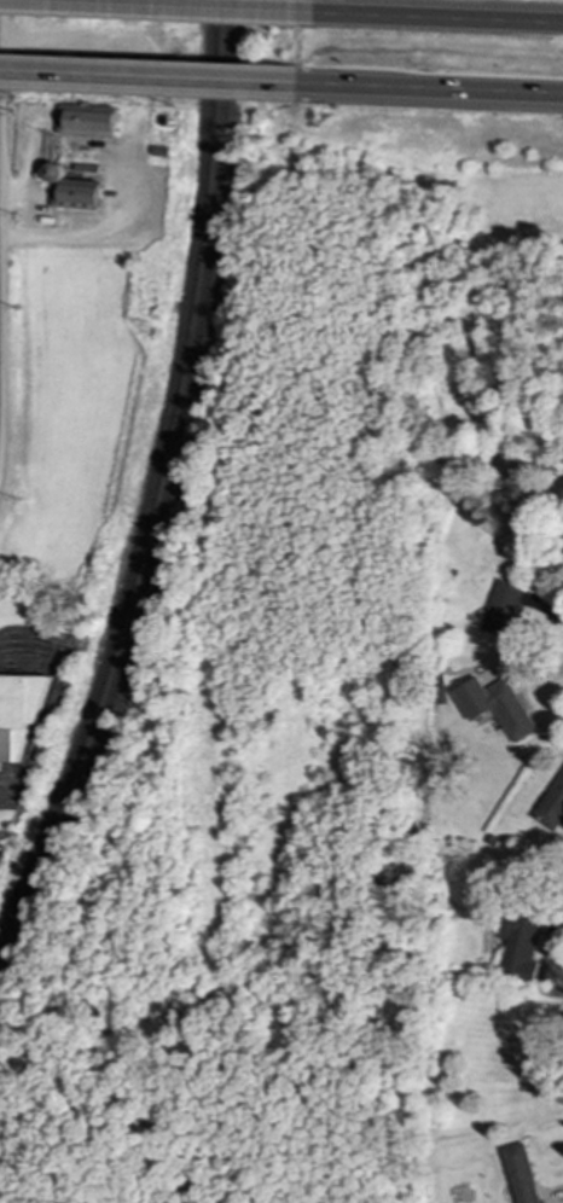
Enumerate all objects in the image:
road: (152, 6)
road: (434, 17)
road: (152, 77)
road: (434, 89)
building: (88, 120)
road: (28, 163)
building: (74, 190)
road: (98, 229)
crop: (82, 408)
railway: (157, 486)
railway: (164, 502)
building: (562, 529)
building: (501, 609)
road: (33, 645)
building: (495, 705)
building: (18, 713)
road: (11, 795)
building: (552, 806)
building: (520, 943)
building: (521, 1173)

